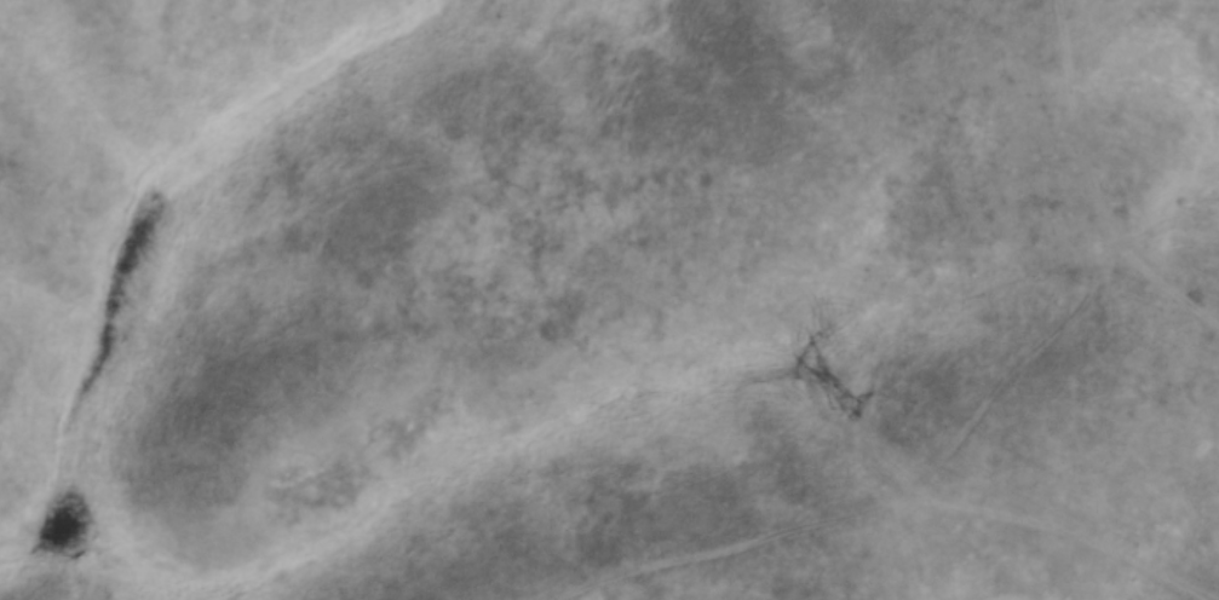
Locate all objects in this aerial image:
power tower: (843, 402)
road: (977, 417)

